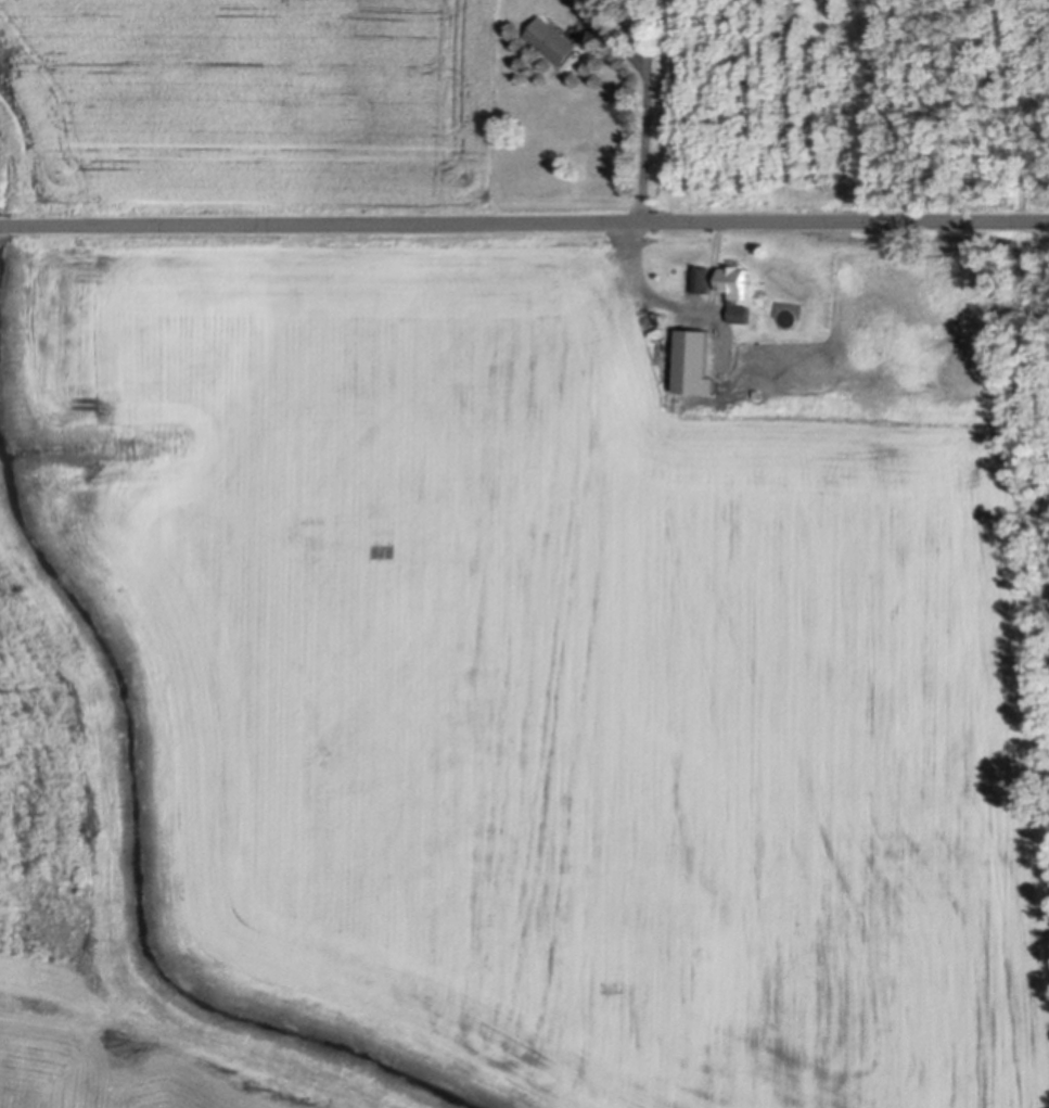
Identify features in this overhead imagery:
road: (642, 34)
road: (612, 36)
building: (549, 38)
road: (639, 209)
road: (524, 220)
building: (699, 275)
building: (733, 289)

